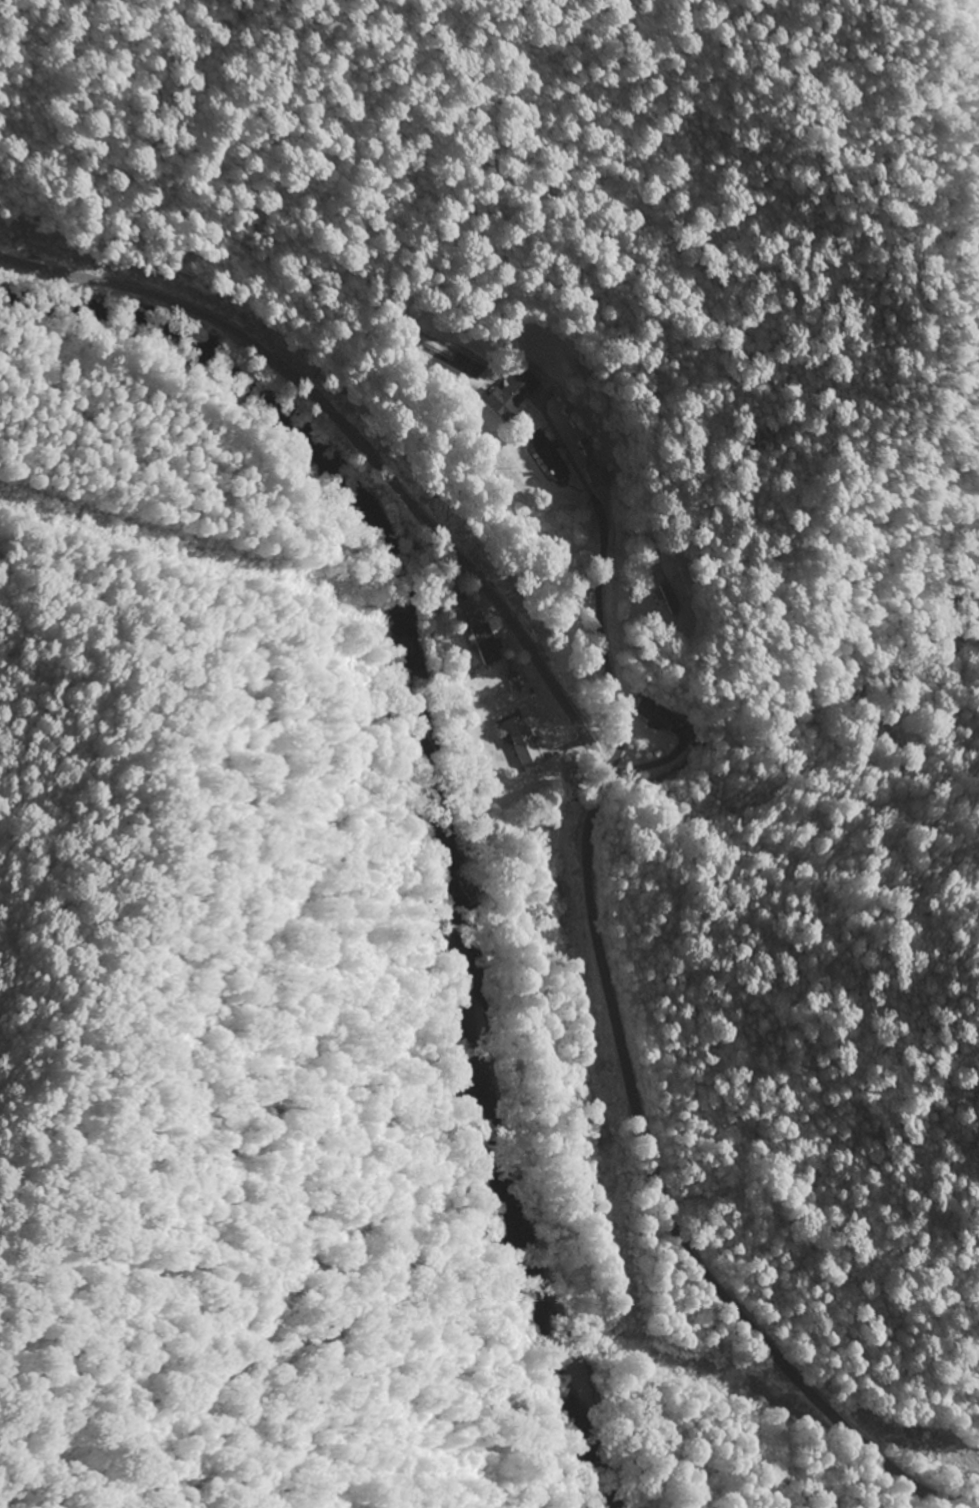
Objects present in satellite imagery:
building: (511, 394)
building: (587, 449)
building: (545, 455)
building: (472, 614)
road: (648, 631)
building: (485, 645)
building: (655, 715)
building: (522, 744)
road: (638, 782)
river: (433, 797)
road: (600, 799)

